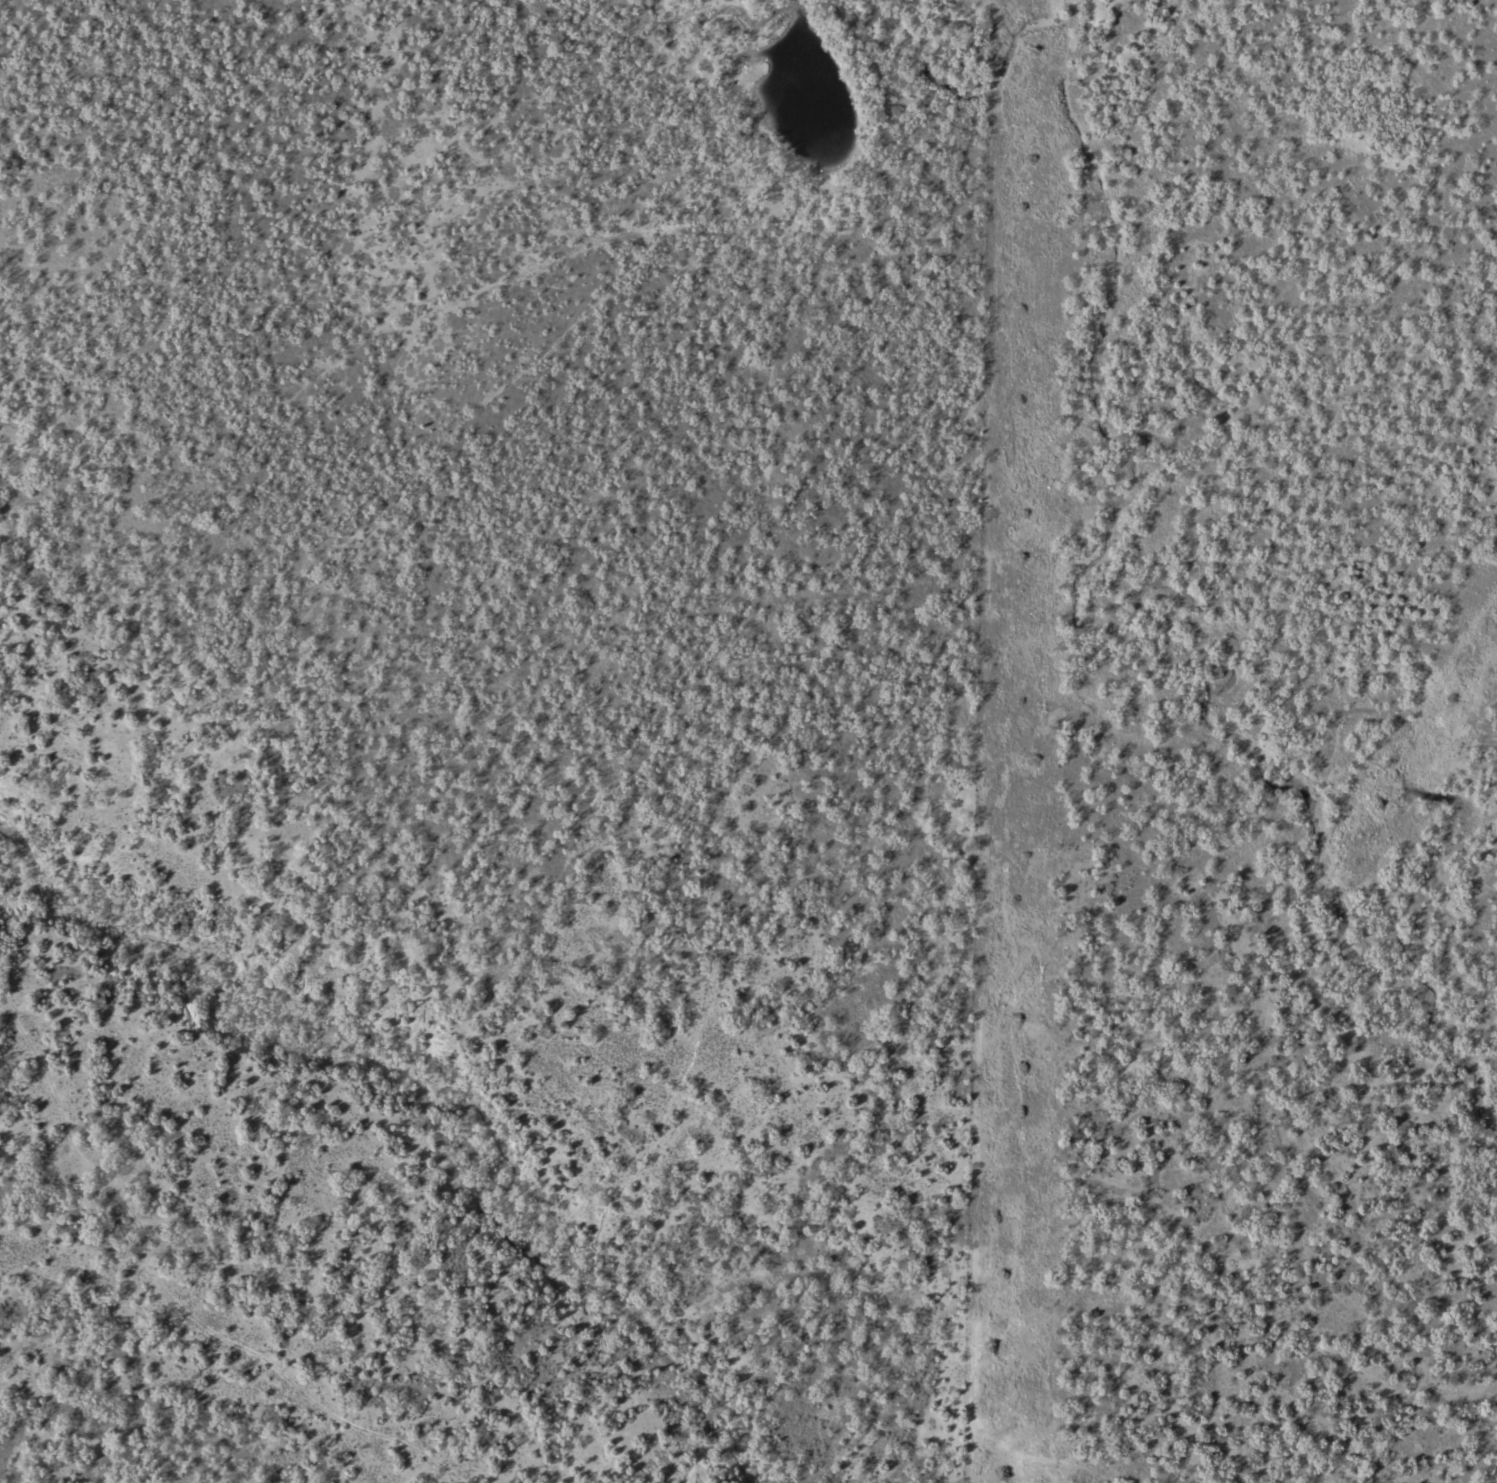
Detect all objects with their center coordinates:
road: (406, 374)

